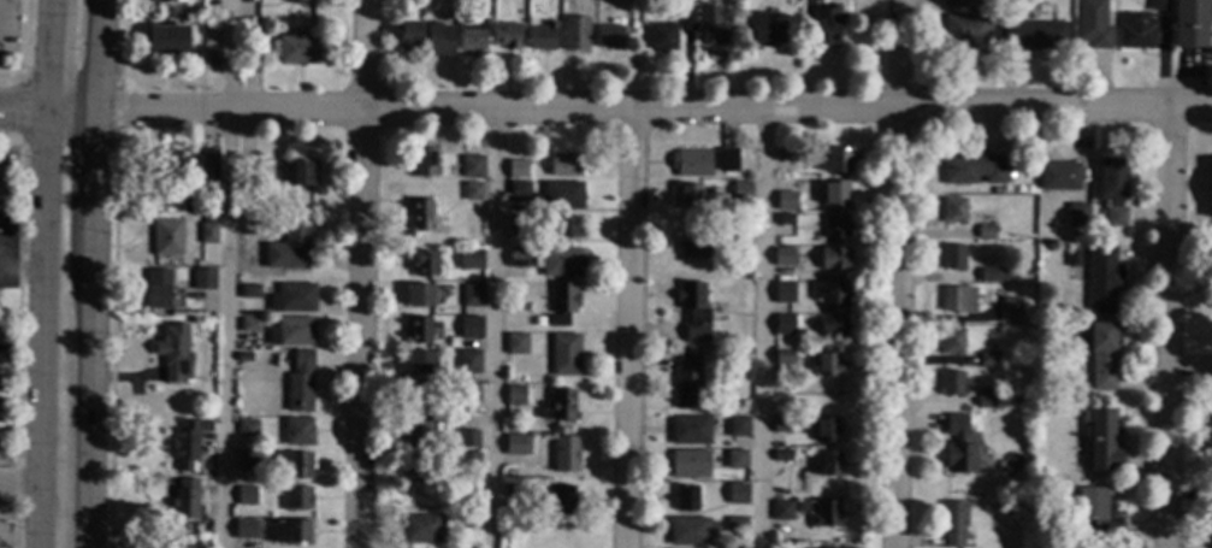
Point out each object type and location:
building: (297, 0)
building: (164, 1)
building: (462, 1)
building: (953, 4)
building: (1157, 5)
building: (771, 14)
building: (687, 18)
building: (193, 23)
building: (1092, 24)
building: (1189, 24)
building: (711, 28)
building: (969, 29)
building: (768, 31)
building: (1136, 31)
building: (473, 34)
building: (575, 34)
building: (824, 34)
building: (409, 35)
building: (1035, 35)
building: (507, 36)
building: (610, 36)
building: (662, 36)
building: (543, 37)
building: (166, 40)
building: (438, 41)
building: (252, 48)
building: (296, 49)
road: (366, 55)
road: (99, 57)
road: (788, 108)
road: (47, 111)
road: (230, 112)
building: (785, 155)
building: (803, 157)
building: (836, 160)
building: (166, 163)
building: (209, 163)
building: (703, 163)
building: (424, 164)
building: (566, 164)
building: (472, 167)
building: (518, 169)
building: (970, 169)
building: (246, 170)
building: (301, 172)
building: (1059, 176)
building: (1112, 179)
building: (519, 188)
road: (94, 189)
building: (1210, 190)
building: (472, 191)
building: (740, 191)
building: (835, 191)
building: (560, 196)
building: (690, 198)
building: (785, 201)
building: (193, 205)
building: (248, 206)
building: (953, 211)
building: (421, 214)
building: (1075, 216)
building: (1115, 217)
building: (784, 219)
building: (518, 225)
building: (836, 225)
building: (566, 226)
building: (208, 230)
building: (985, 232)
building: (167, 238)
building: (739, 241)
building: (294, 243)
building: (693, 246)
building: (782, 257)
building: (953, 258)
building: (469, 259)
building: (518, 259)
building: (833, 259)
building: (558, 261)
building: (425, 265)
road: (19, 273)
road: (45, 273)
road: (229, 273)
road: (898, 273)
building: (995, 275)
building: (205, 279)
building: (1101, 281)
building: (156, 289)
building: (250, 291)
building: (784, 293)
building: (829, 294)
building: (0, 296)
building: (419, 296)
building: (472, 296)
building: (292, 299)
building: (957, 300)
building: (562, 304)
building: (1010, 310)
building: (693, 311)
building: (538, 322)
building: (249, 325)
building: (784, 325)
building: (833, 326)
building: (469, 328)
road: (1169, 328)
road: (361, 329)
road: (492, 329)
road: (627, 329)
road: (761, 329)
building: (419, 331)
building: (292, 332)
building: (951, 342)
building: (516, 344)
building: (173, 354)
building: (564, 354)
building: (1101, 355)
building: (784, 357)
building: (244, 358)
building: (988, 359)
building: (285, 361)
building: (468, 361)
building: (1001, 363)
building: (420, 365)
building: (827, 365)
building: (687, 379)
building: (300, 382)
building: (950, 384)
building: (469, 394)
building: (418, 396)
building: (514, 396)
building: (985, 397)
road: (94, 406)
building: (561, 406)
building: (780, 425)
building: (737, 426)
building: (248, 429)
building: (826, 429)
building: (691, 430)
building: (418, 431)
building: (297, 432)
building: (467, 440)
building: (1101, 442)
building: (188, 443)
building: (518, 444)
building: (958, 447)
building: (564, 454)
building: (781, 455)
building: (262, 459)
building: (735, 459)
building: (247, 461)
building: (468, 464)
building: (688, 464)
building: (829, 464)
building: (292, 466)
building: (416, 466)
building: (1036, 475)
road: (20, 479)
building: (737, 490)
building: (512, 491)
building: (246, 496)
building: (685, 497)
building: (296, 499)
building: (185, 500)
building: (561, 500)
building: (781, 511)
building: (826, 514)
building: (1095, 515)
building: (467, 518)
building: (953, 524)
building: (737, 525)
building: (246, 529)
building: (421, 529)
building: (687, 531)
building: (290, 532)
building: (173, 543)

